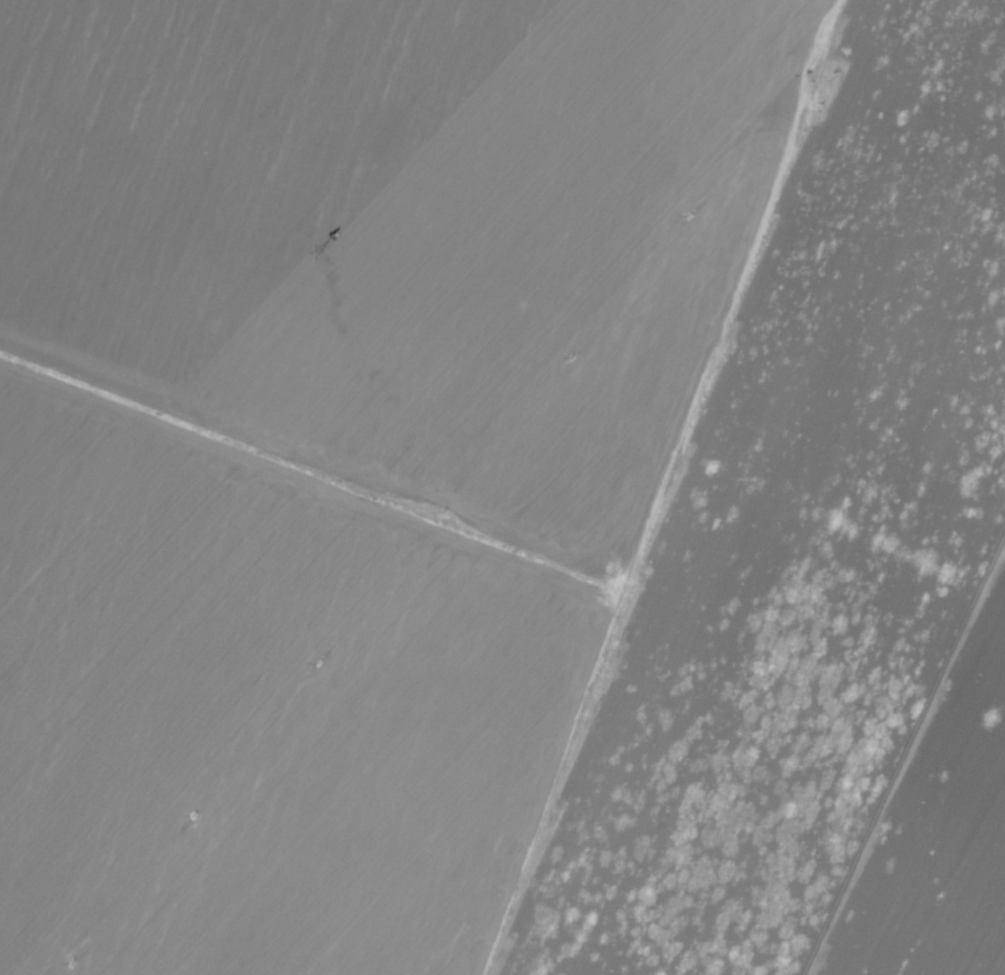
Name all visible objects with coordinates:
crop: (335, 443)

